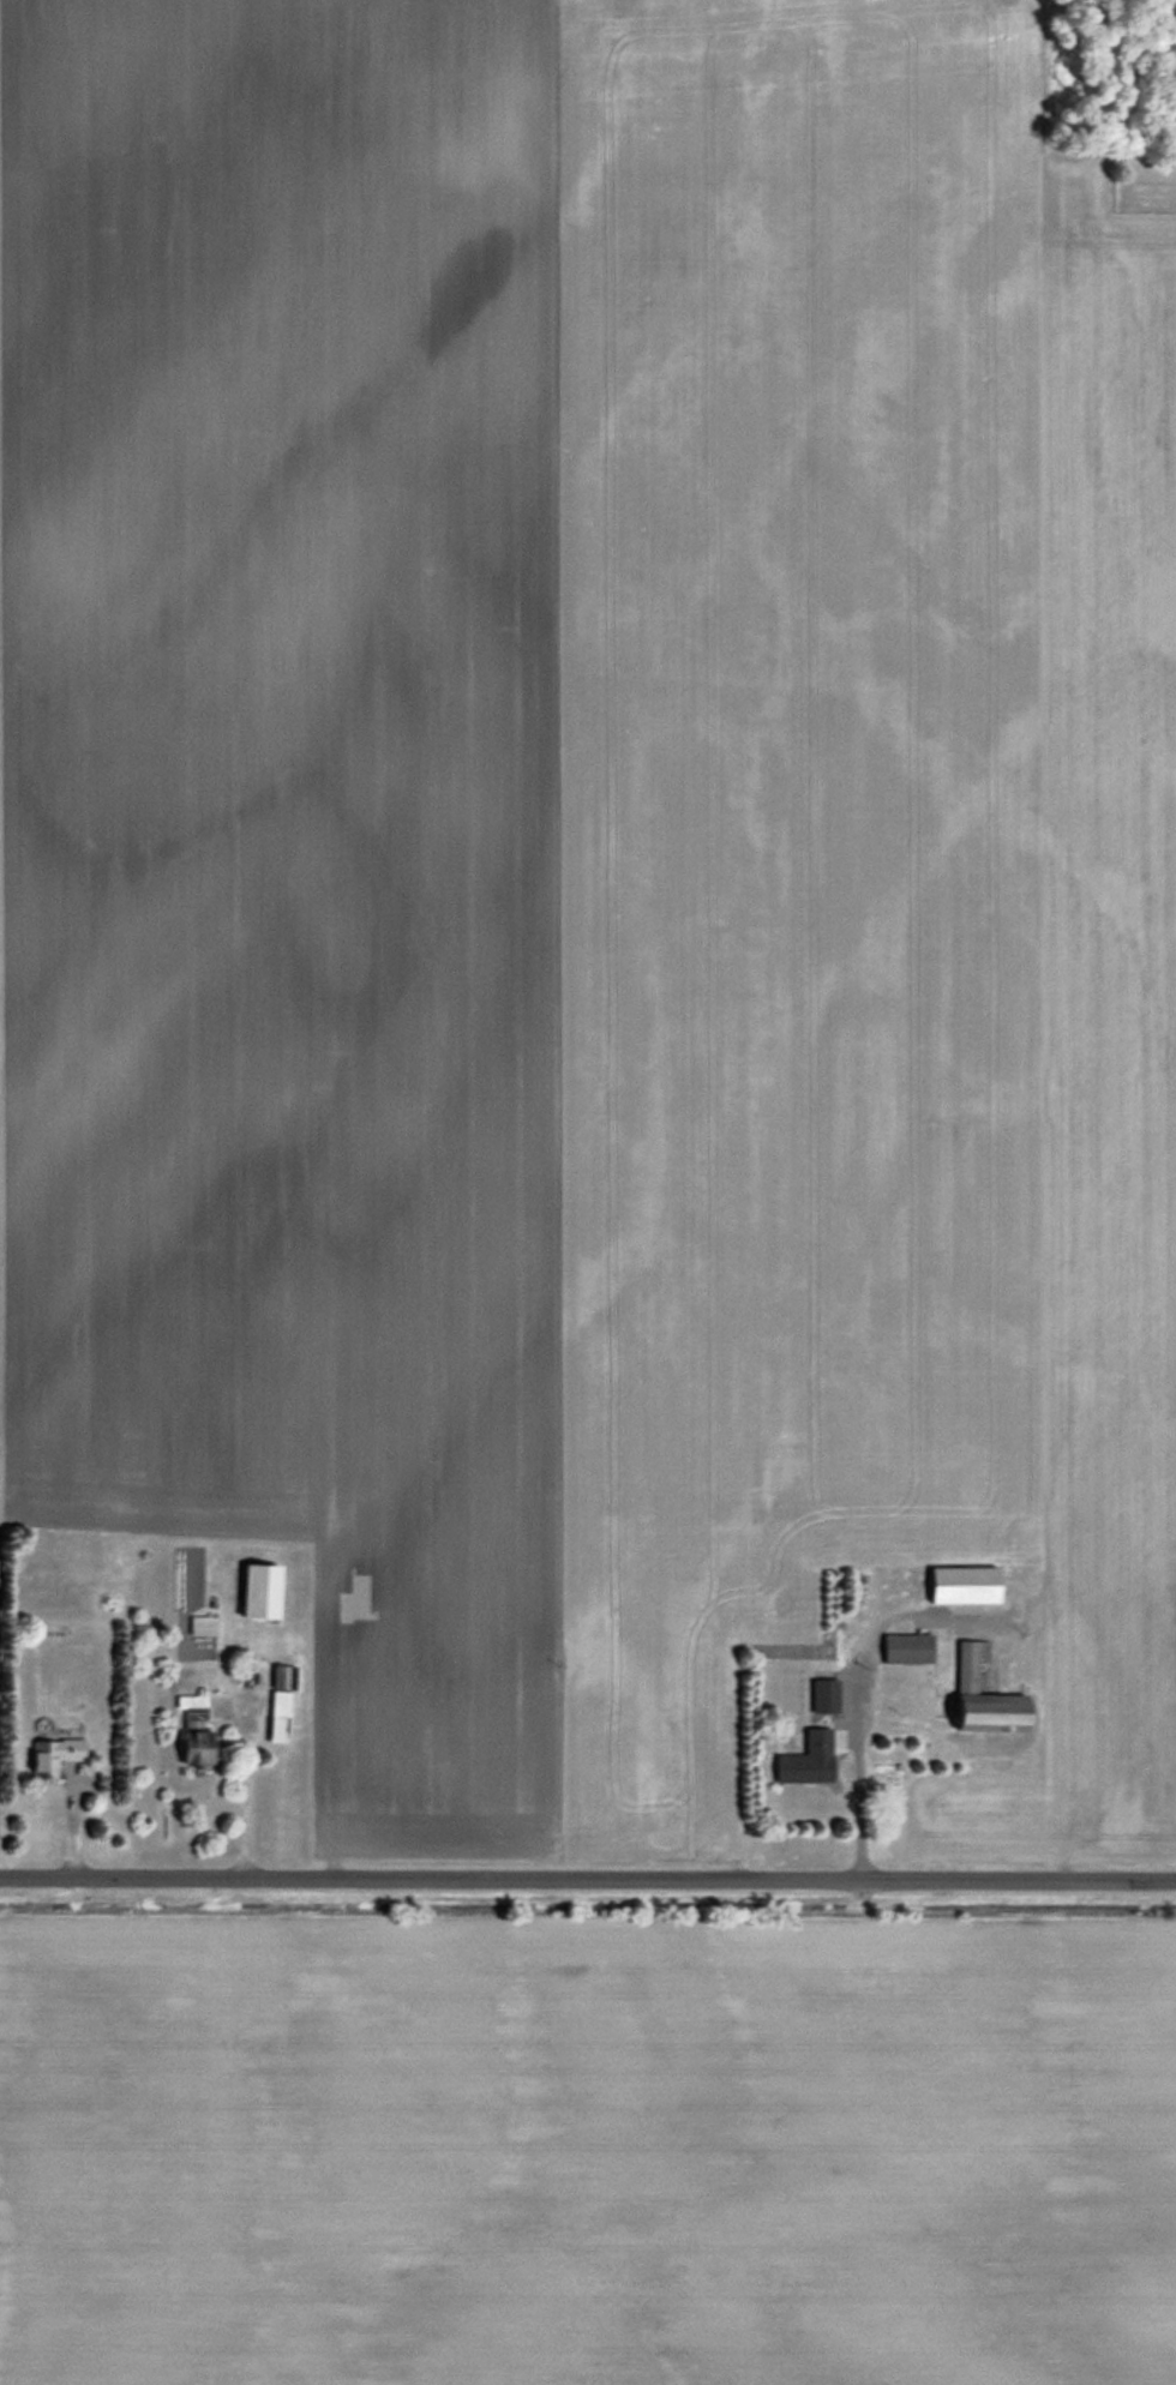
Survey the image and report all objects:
building: (961, 1584)
building: (257, 1591)
building: (200, 1624)
building: (905, 1647)
building: (980, 1694)
building: (822, 1695)
building: (277, 1702)
building: (191, 1705)
building: (193, 1747)
building: (52, 1755)
building: (805, 1759)
road: (245, 1791)
road: (65, 1821)
road: (588, 1884)

